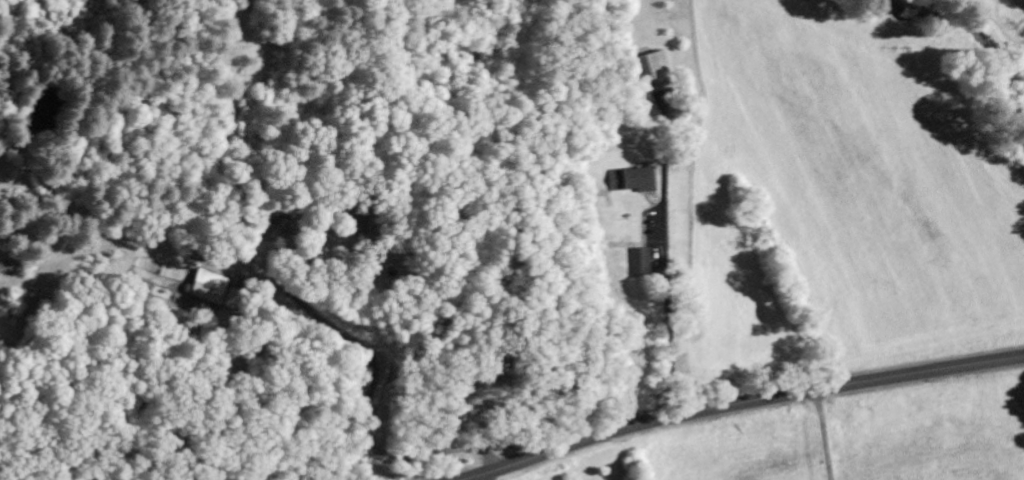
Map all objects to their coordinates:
building: (653, 66)
building: (631, 180)
building: (639, 262)
building: (207, 287)
road: (658, 314)
road: (369, 399)
road: (738, 404)
road: (824, 435)

